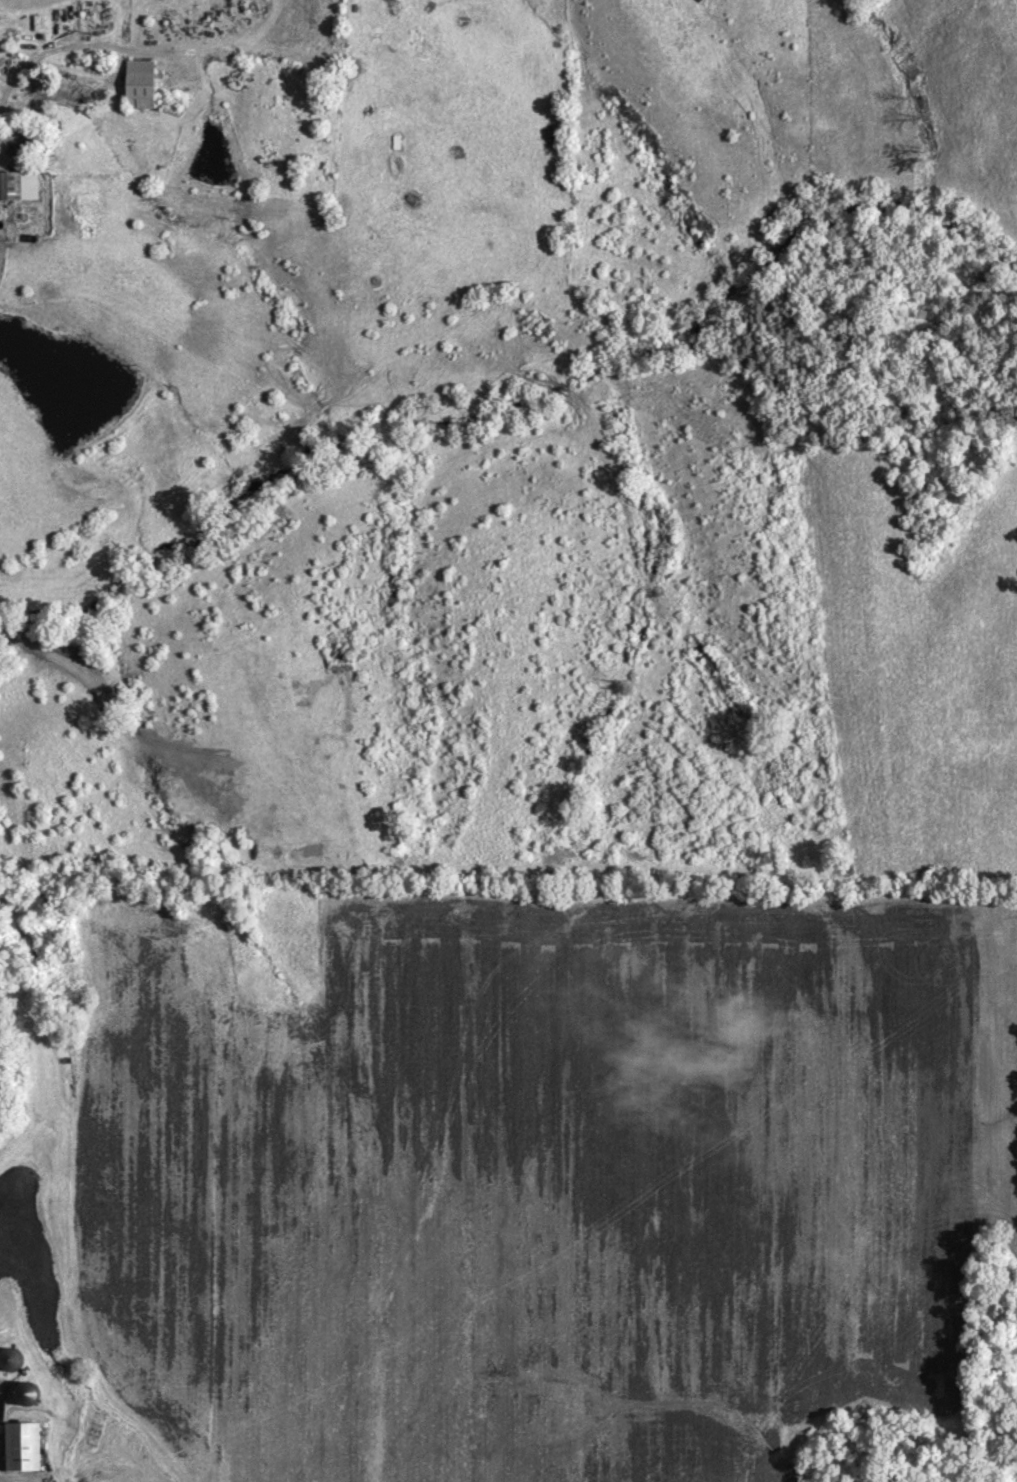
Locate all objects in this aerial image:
road: (141, 43)
building: (140, 88)
building: (5, 190)
building: (23, 1450)

